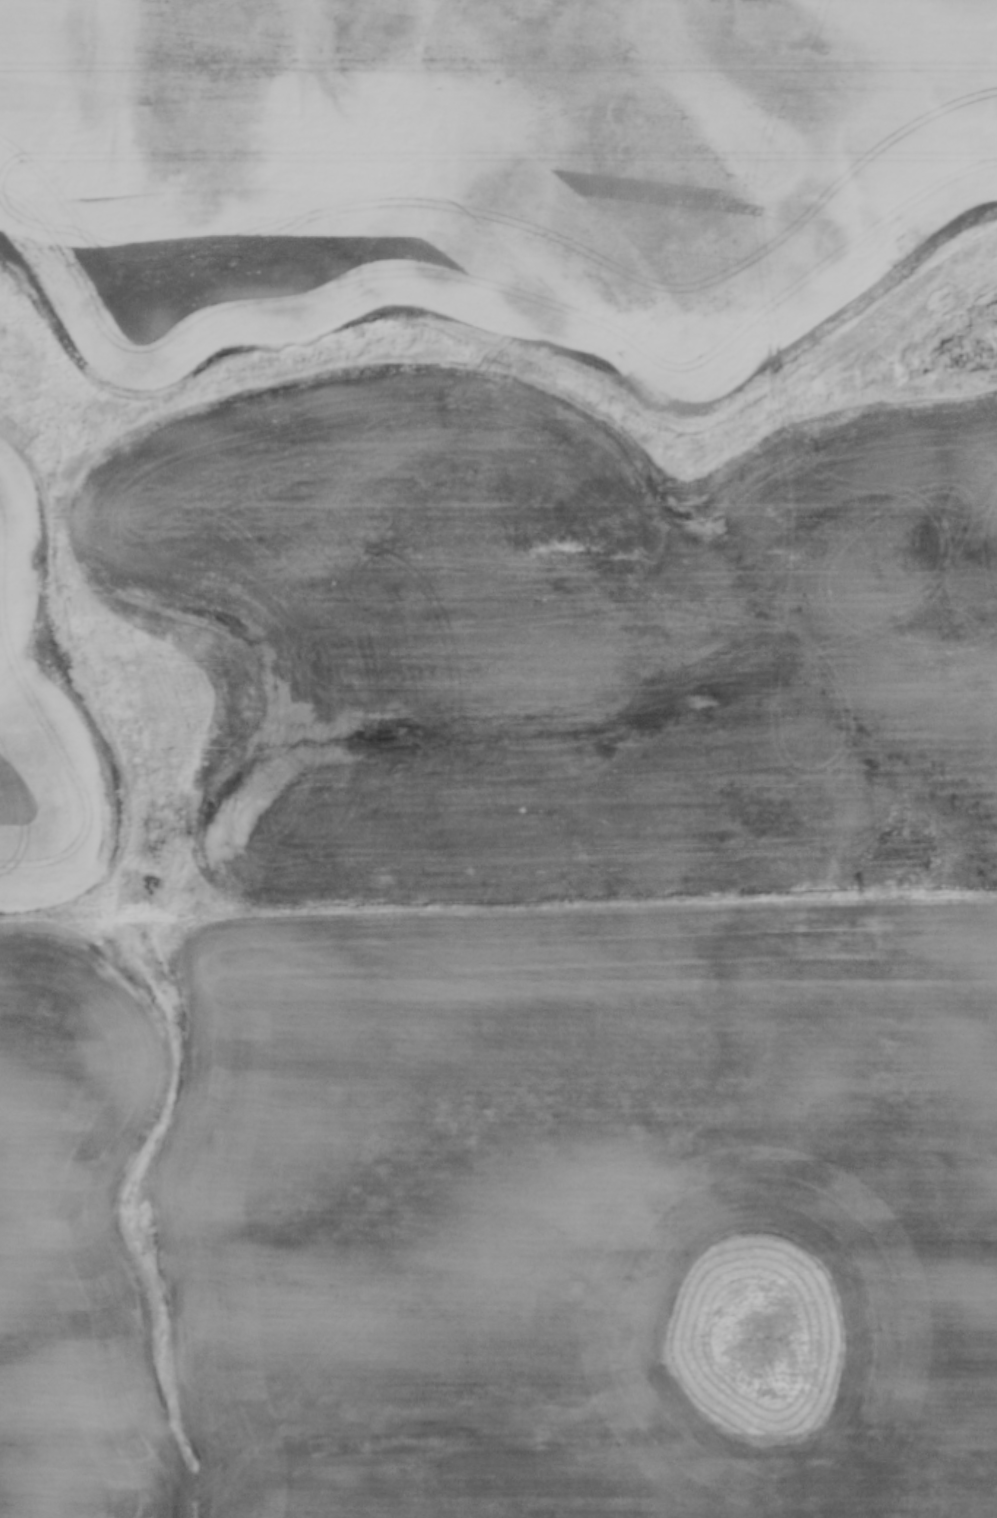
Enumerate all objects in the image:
road: (917, 366)

